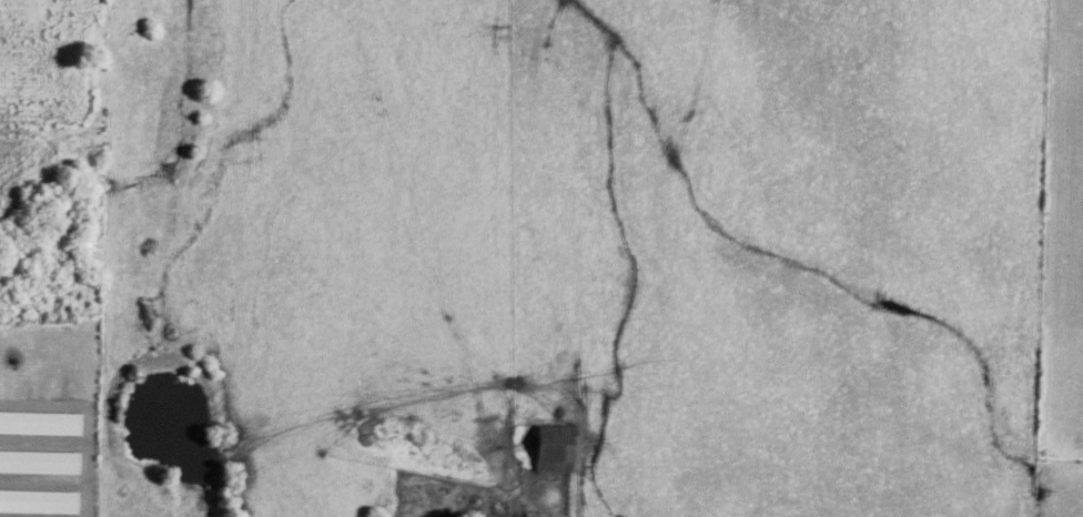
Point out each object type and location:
building: (39, 425)
building: (550, 450)
building: (38, 464)
building: (38, 503)

